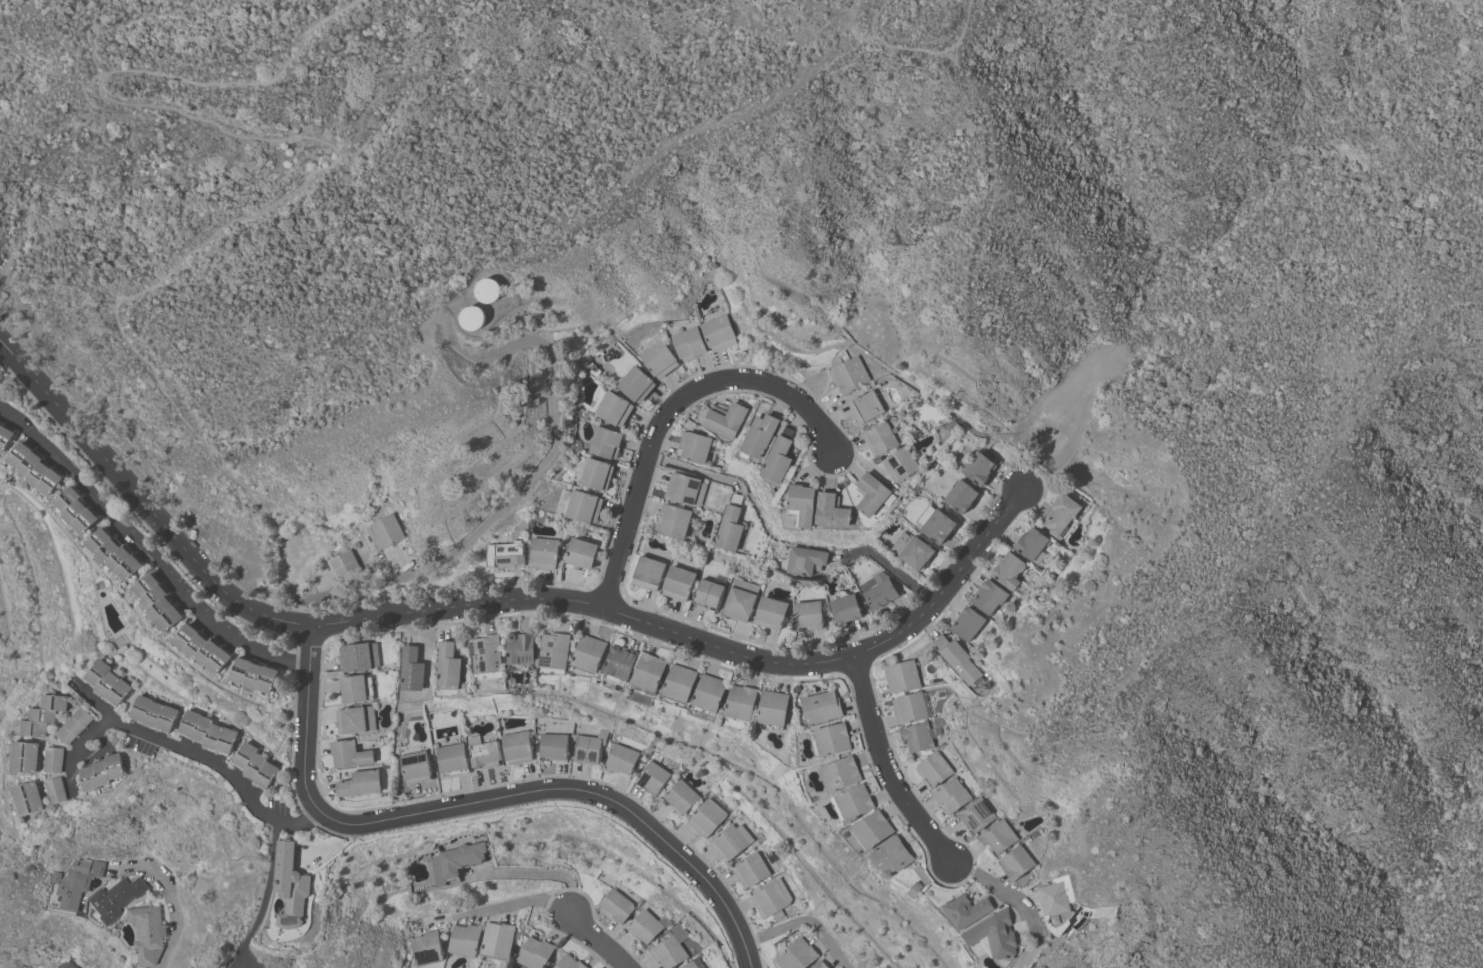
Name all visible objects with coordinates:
road: (911, 37)
road: (226, 66)
road: (184, 241)
building: (487, 290)
building: (473, 318)
building: (718, 333)
building: (689, 344)
building: (659, 359)
building: (848, 375)
building: (635, 384)
building: (866, 407)
building: (613, 409)
road: (664, 410)
building: (726, 421)
building: (760, 436)
building: (5, 438)
building: (880, 438)
building: (605, 443)
building: (694, 447)
building: (778, 460)
building: (901, 465)
building: (978, 468)
building: (35, 469)
road: (533, 473)
building: (594, 475)
building: (685, 490)
building: (871, 494)
building: (961, 497)
building: (802, 504)
building: (578, 506)
building: (76, 511)
building: (832, 512)
building: (1060, 515)
building: (674, 521)
building: (935, 524)
building: (730, 526)
building: (384, 532)
building: (1031, 545)
road: (150, 551)
building: (912, 551)
building: (114, 554)
building: (544, 554)
building: (580, 554)
building: (504, 555)
building: (806, 561)
building: (344, 566)
road: (891, 568)
building: (1008, 571)
building: (649, 573)
building: (678, 583)
building: (880, 590)
building: (709, 593)
building: (988, 597)
building: (740, 600)
building: (158, 602)
road: (493, 604)
building: (845, 608)
building: (771, 613)
building: (808, 616)
building: (967, 624)
building: (202, 649)
building: (555, 650)
building: (520, 651)
building: (589, 653)
building: (486, 657)
building: (359, 658)
building: (956, 659)
building: (449, 665)
building: (619, 665)
building: (412, 670)
building: (649, 672)
building: (254, 675)
building: (902, 677)
building: (680, 683)
building: (107, 684)
building: (353, 689)
building: (709, 694)
building: (741, 702)
building: (821, 707)
building: (772, 708)
building: (909, 708)
building: (154, 714)
building: (44, 716)
building: (356, 720)
building: (74, 726)
building: (207, 733)
building: (917, 737)
building: (829, 740)
building: (553, 746)
building: (517, 747)
building: (589, 748)
road: (79, 749)
building: (484, 751)
building: (350, 755)
road: (200, 757)
building: (25, 758)
building: (452, 758)
building: (621, 759)
building: (54, 760)
road: (887, 765)
building: (255, 766)
building: (415, 767)
building: (933, 770)
building: (104, 772)
building: (839, 774)
building: (652, 778)
building: (360, 784)
building: (56, 791)
building: (951, 796)
building: (681, 797)
building: (27, 798)
road: (483, 803)
building: (852, 803)
building: (976, 815)
building: (707, 818)
building: (873, 830)
building: (998, 837)
building: (730, 842)
road: (328, 849)
building: (892, 857)
building: (458, 859)
building: (1016, 863)
building: (750, 871)
building: (922, 876)
building: (76, 885)
building: (291, 886)
road: (1003, 890)
road: (169, 896)
road: (269, 897)
building: (116, 899)
building: (770, 900)
building: (1058, 901)
building: (616, 907)
road: (493, 908)
building: (966, 910)
road: (807, 921)
building: (645, 927)
building: (147, 933)
building: (995, 935)
building: (465, 940)
building: (498, 940)
road: (595, 941)
building: (427, 949)
building: (535, 953)
building: (669, 953)
building: (797, 955)
building: (570, 963)
building: (64, 964)
building: (694, 964)
building: (820, 965)

